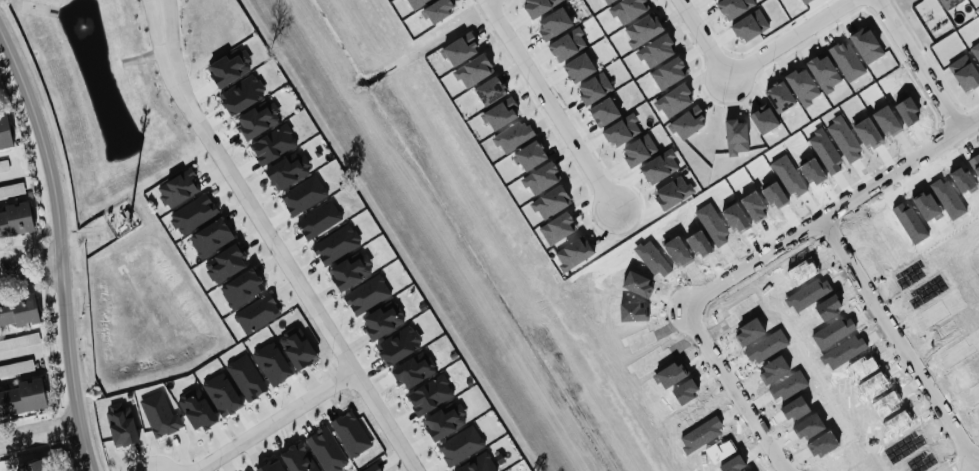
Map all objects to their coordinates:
building: (607, 1)
building: (805, 1)
building: (950, 3)
building: (538, 6)
building: (734, 6)
building: (930, 8)
building: (628, 9)
building: (554, 22)
building: (750, 25)
fountain: (86, 29)
building: (643, 29)
road: (702, 37)
road: (790, 38)
building: (568, 43)
building: (867, 44)
building: (460, 48)
building: (656, 50)
building: (847, 60)
road: (918, 64)
building: (229, 67)
building: (578, 67)
building: (473, 69)
building: (669, 72)
building: (824, 72)
building: (803, 86)
building: (594, 87)
building: (490, 90)
building: (242, 93)
building: (779, 96)
building: (673, 99)
road: (550, 102)
building: (603, 111)
building: (501, 112)
building: (763, 118)
building: (257, 119)
building: (687, 122)
building: (621, 129)
building: (4, 132)
building: (513, 135)
building: (736, 136)
building: (273, 143)
building: (639, 149)
building: (530, 154)
building: (4, 164)
building: (659, 165)
building: (288, 170)
road: (10, 177)
building: (541, 177)
building: (179, 187)
building: (12, 189)
building: (673, 191)
building: (304, 194)
building: (551, 201)
road: (832, 209)
building: (193, 213)
building: (15, 219)
building: (320, 219)
building: (557, 228)
building: (211, 237)
road: (272, 241)
building: (337, 243)
road: (60, 250)
building: (574, 253)
building: (225, 262)
road: (31, 266)
building: (351, 270)
building: (242, 287)
building: (368, 294)
building: (18, 310)
building: (257, 313)
building: (383, 319)
road: (898, 339)
building: (20, 340)
building: (399, 343)
building: (297, 350)
road: (19, 354)
building: (272, 362)
building: (17, 367)
building: (414, 370)
building: (247, 376)
road: (734, 390)
building: (222, 393)
building: (430, 393)
building: (22, 397)
building: (196, 409)
building: (160, 413)
building: (445, 420)
road: (276, 422)
building: (122, 423)
road: (39, 432)
building: (352, 432)
building: (461, 444)
building: (327, 449)
building: (299, 457)
building: (478, 464)
building: (30, 465)
building: (272, 466)
building: (373, 468)

